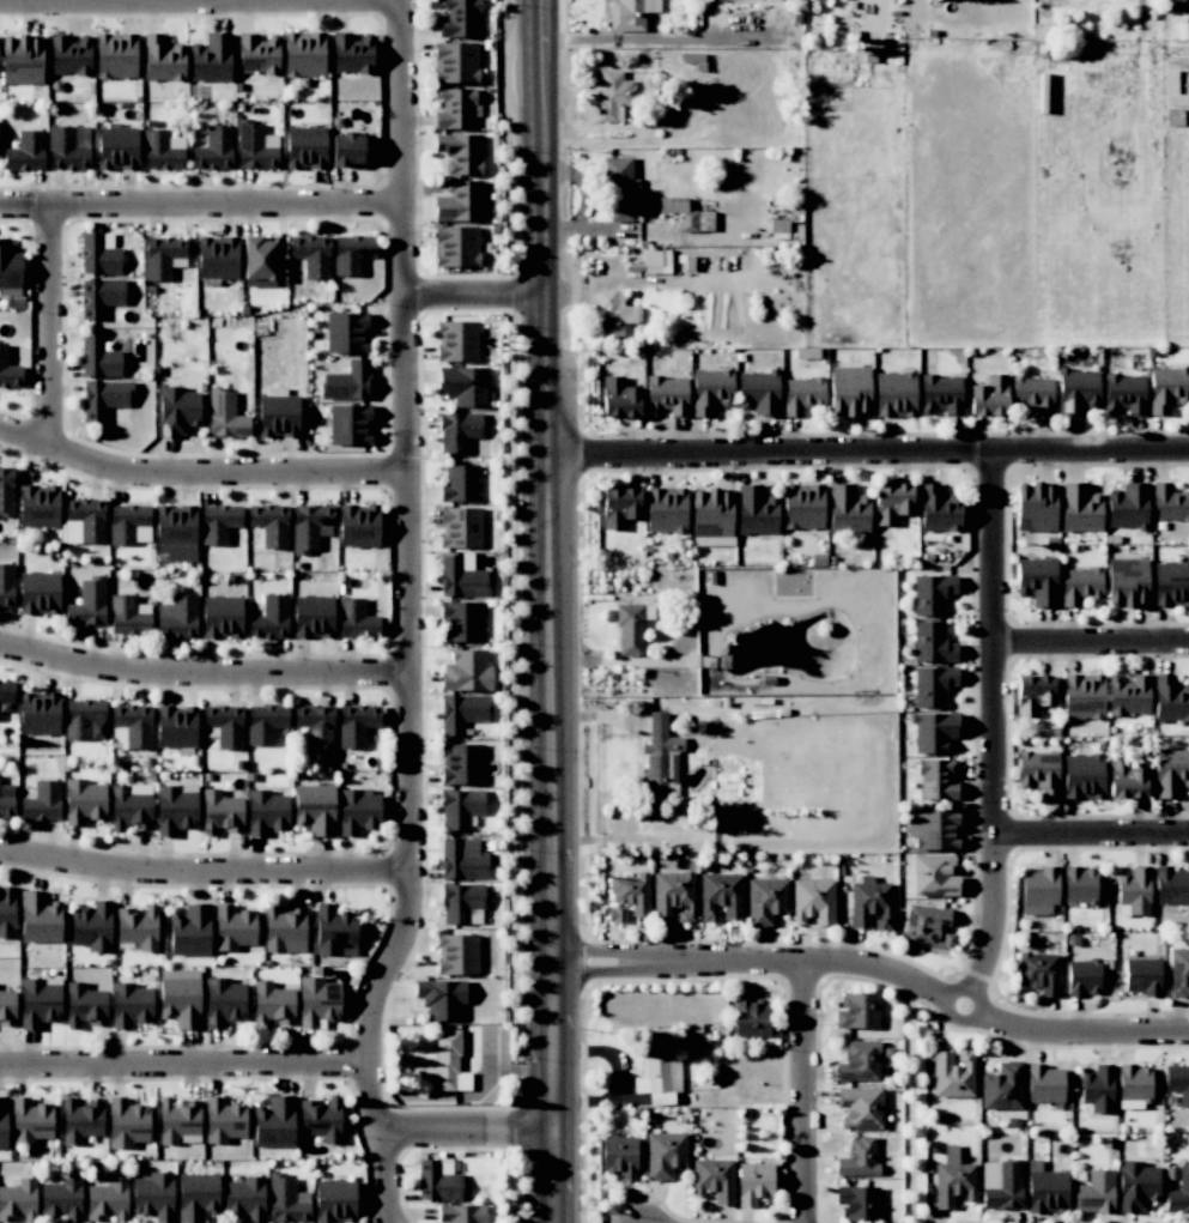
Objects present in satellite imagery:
road: (200, 4)
building: (630, 13)
building: (457, 18)
building: (1042, 36)
road: (661, 40)
building: (257, 53)
building: (351, 53)
building: (303, 54)
building: (68, 55)
building: (115, 55)
building: (210, 57)
building: (22, 59)
building: (162, 59)
building: (455, 62)
building: (612, 95)
building: (455, 108)
building: (255, 146)
building: (305, 146)
building: (68, 147)
building: (117, 147)
building: (213, 149)
building: (162, 150)
building: (346, 150)
building: (25, 152)
building: (460, 152)
building: (620, 189)
road: (584, 199)
building: (459, 201)
road: (199, 205)
building: (686, 214)
building: (455, 246)
building: (351, 253)
building: (98, 254)
building: (311, 255)
building: (162, 256)
building: (217, 258)
building: (656, 260)
building: (259, 262)
road: (475, 293)
building: (99, 296)
building: (614, 315)
road: (48, 327)
building: (346, 333)
building: (456, 341)
building: (98, 358)
building: (8, 370)
building: (346, 381)
building: (463, 386)
building: (1167, 388)
building: (710, 389)
building: (849, 390)
building: (758, 392)
building: (1078, 392)
building: (894, 393)
building: (1033, 393)
building: (1124, 393)
building: (801, 394)
building: (941, 394)
building: (666, 395)
building: (989, 396)
building: (104, 398)
building: (619, 398)
building: (177, 411)
building: (225, 416)
building: (278, 416)
building: (348, 424)
building: (457, 431)
road: (869, 454)
road: (199, 472)
building: (460, 483)
building: (6, 491)
building: (891, 503)
building: (1169, 503)
building: (1036, 504)
building: (38, 505)
building: (802, 505)
building: (1127, 505)
building: (619, 507)
building: (1079, 508)
building: (848, 509)
building: (939, 509)
building: (665, 510)
building: (756, 510)
building: (711, 516)
building: (84, 520)
building: (218, 522)
building: (129, 523)
building: (269, 523)
building: (358, 525)
building: (310, 527)
building: (460, 527)
building: (176, 532)
building: (461, 576)
building: (1037, 581)
building: (1127, 582)
building: (1170, 583)
building: (6, 585)
building: (1079, 585)
building: (38, 592)
building: (932, 593)
building: (87, 604)
road: (551, 611)
building: (127, 616)
building: (313, 616)
building: (177, 617)
building: (222, 617)
road: (406, 617)
building: (269, 618)
building: (356, 619)
building: (461, 622)
building: (631, 628)
building: (933, 643)
road: (1092, 644)
building: (466, 671)
road: (201, 672)
building: (932, 685)
building: (6, 691)
building: (1032, 694)
building: (1128, 695)
building: (1082, 696)
building: (1170, 698)
building: (461, 712)
building: (38, 713)
building: (84, 719)
building: (265, 723)
building: (356, 723)
road: (994, 723)
building: (133, 725)
building: (224, 725)
building: (176, 726)
building: (316, 726)
building: (934, 732)
building: (659, 756)
building: (461, 763)
building: (1170, 771)
building: (1037, 773)
building: (1082, 776)
building: (1126, 779)
building: (936, 780)
building: (6, 800)
building: (83, 800)
building: (42, 801)
building: (129, 806)
building: (460, 807)
building: (175, 809)
building: (315, 809)
building: (266, 811)
building: (358, 811)
building: (220, 812)
building: (934, 829)
road: (1090, 831)
building: (462, 859)
road: (202, 870)
building: (933, 876)
building: (1079, 884)
building: (1171, 885)
building: (1039, 890)
building: (1134, 890)
building: (630, 892)
building: (673, 895)
building: (720, 896)
building: (765, 900)
building: (813, 901)
building: (461, 903)
building: (869, 903)
building: (7, 912)
building: (615, 914)
building: (38, 916)
building: (92, 926)
building: (138, 927)
building: (233, 927)
building: (926, 927)
building: (283, 930)
building: (190, 931)
building: (334, 931)
building: (456, 953)
road: (753, 959)
building: (1178, 971)
building: (1038, 973)
building: (1082, 976)
building: (1142, 976)
road: (964, 988)
building: (180, 997)
building: (441, 998)
building: (38, 1001)
building: (223, 1001)
building: (317, 1001)
building: (272, 1004)
building: (85, 1005)
building: (129, 1005)
building: (7, 1007)
building: (857, 1011)
building: (748, 1016)
road: (1080, 1031)
road: (183, 1061)
building: (859, 1061)
building: (445, 1064)
building: (657, 1070)
building: (952, 1073)
road: (618, 1078)
building: (1177, 1082)
building: (1134, 1083)
building: (1044, 1084)
building: (1002, 1086)
building: (1097, 1089)
road: (802, 1091)
building: (860, 1107)
building: (321, 1119)
building: (30, 1120)
building: (80, 1120)
building: (223, 1120)
building: (177, 1121)
building: (2, 1122)
building: (126, 1122)
building: (273, 1122)
road: (463, 1128)
building: (665, 1154)
building: (618, 1156)
building: (857, 1157)
building: (952, 1179)
building: (437, 1180)
building: (712, 1180)
building: (753, 1182)
building: (1001, 1185)
building: (1136, 1185)
building: (1045, 1188)
building: (1094, 1192)
building: (1178, 1192)
building: (153, 1197)
building: (196, 1197)
building: (61, 1198)
building: (244, 1198)
building: (18, 1200)
building: (107, 1200)
building: (286, 1200)
building: (334, 1200)
building: (857, 1203)
building: (461, 1213)

